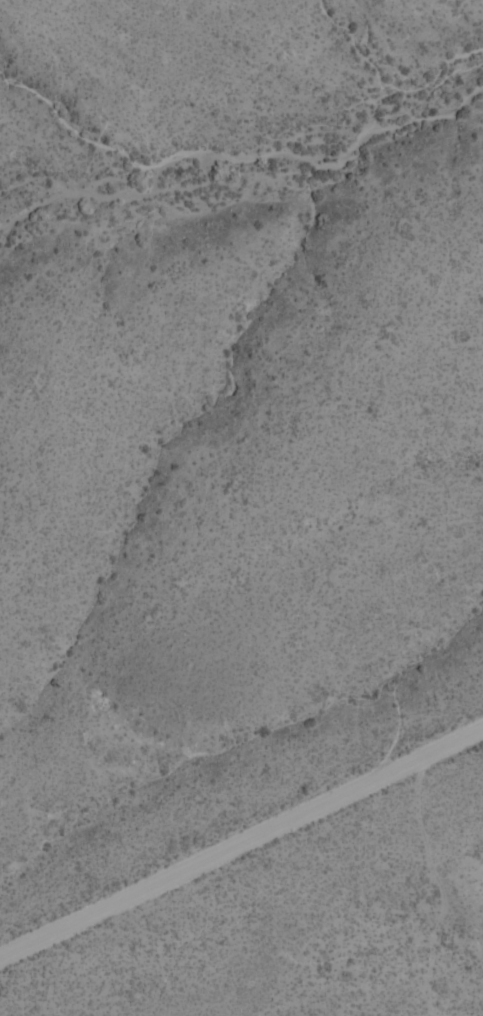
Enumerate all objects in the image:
road: (241, 844)
road: (436, 890)

